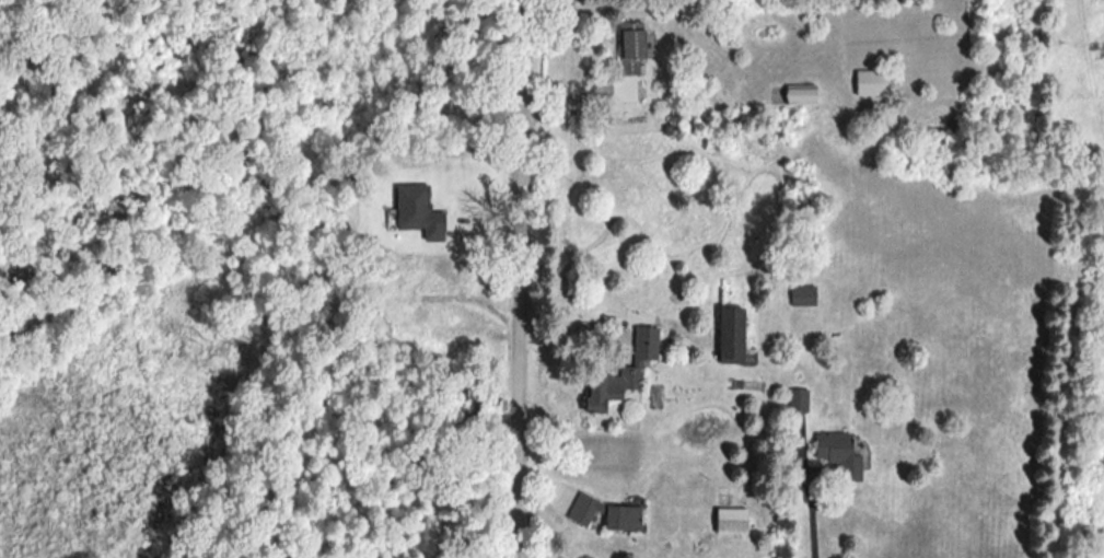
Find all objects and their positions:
building: (630, 46)
building: (870, 82)
road: (574, 91)
building: (799, 94)
building: (417, 210)
road: (515, 279)
building: (802, 294)
building: (730, 334)
building: (621, 371)
building: (797, 399)
building: (838, 453)
road: (807, 500)
building: (581, 509)
building: (621, 516)
building: (730, 520)

